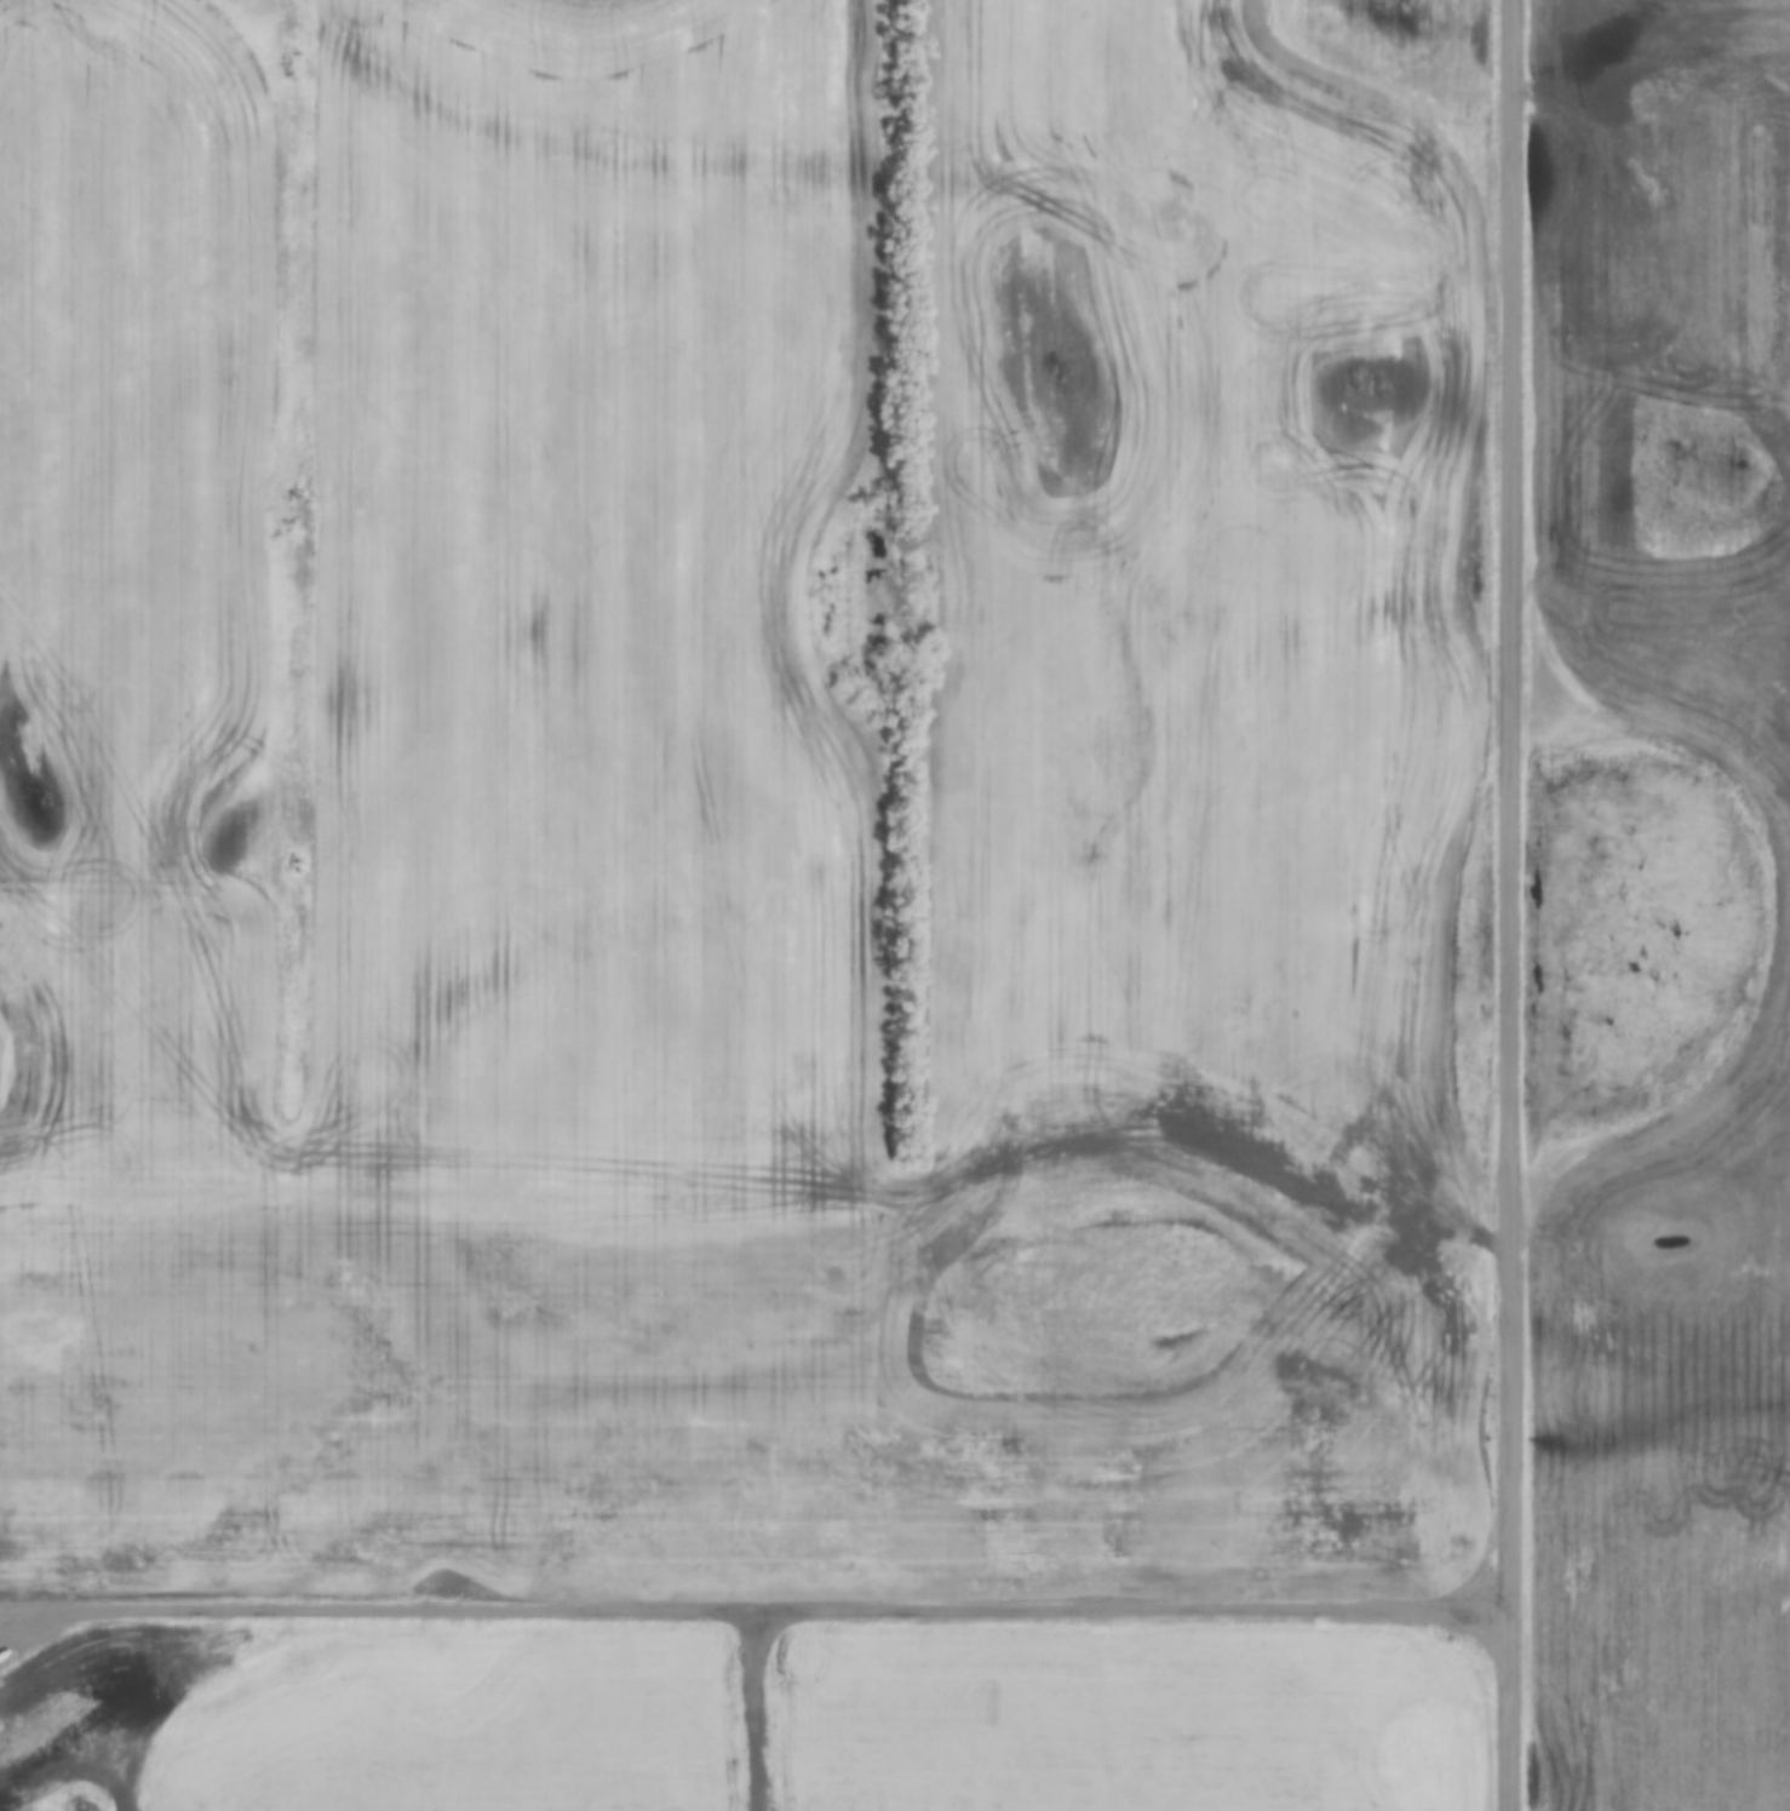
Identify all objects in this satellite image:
road: (1509, 905)

